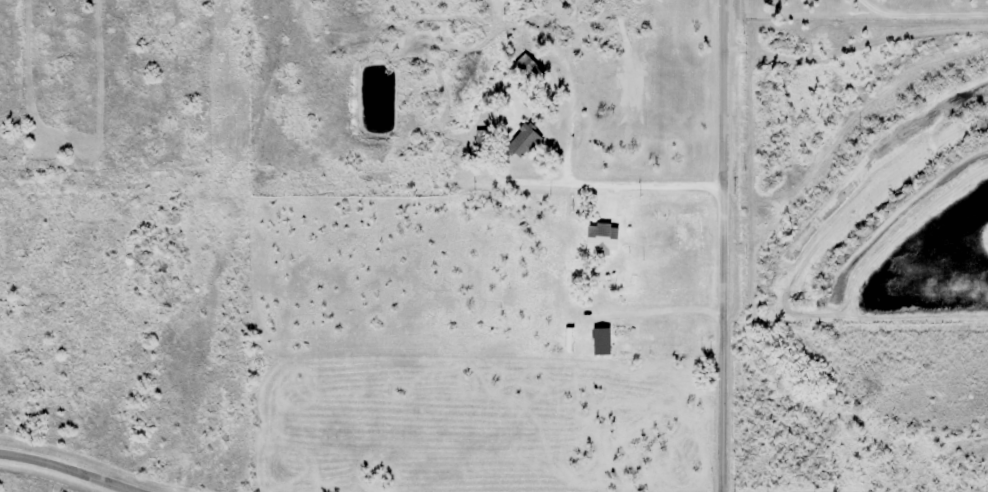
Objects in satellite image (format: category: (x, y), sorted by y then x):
building: (496, 8)
road: (922, 15)
building: (522, 141)
building: (610, 206)
building: (569, 228)
building: (609, 242)
road: (721, 246)
building: (633, 340)
road: (66, 471)

